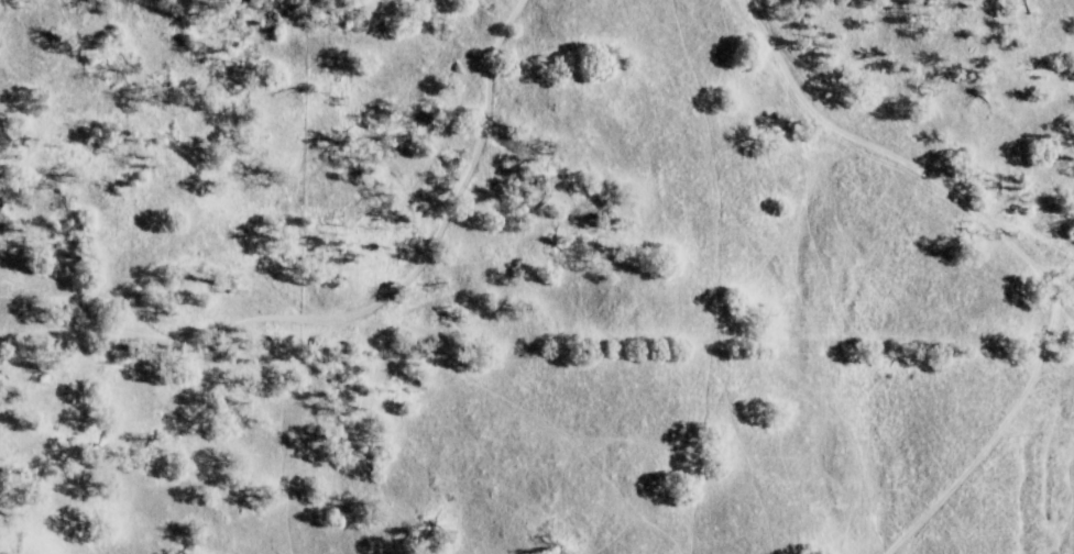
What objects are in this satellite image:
road: (359, 287)

